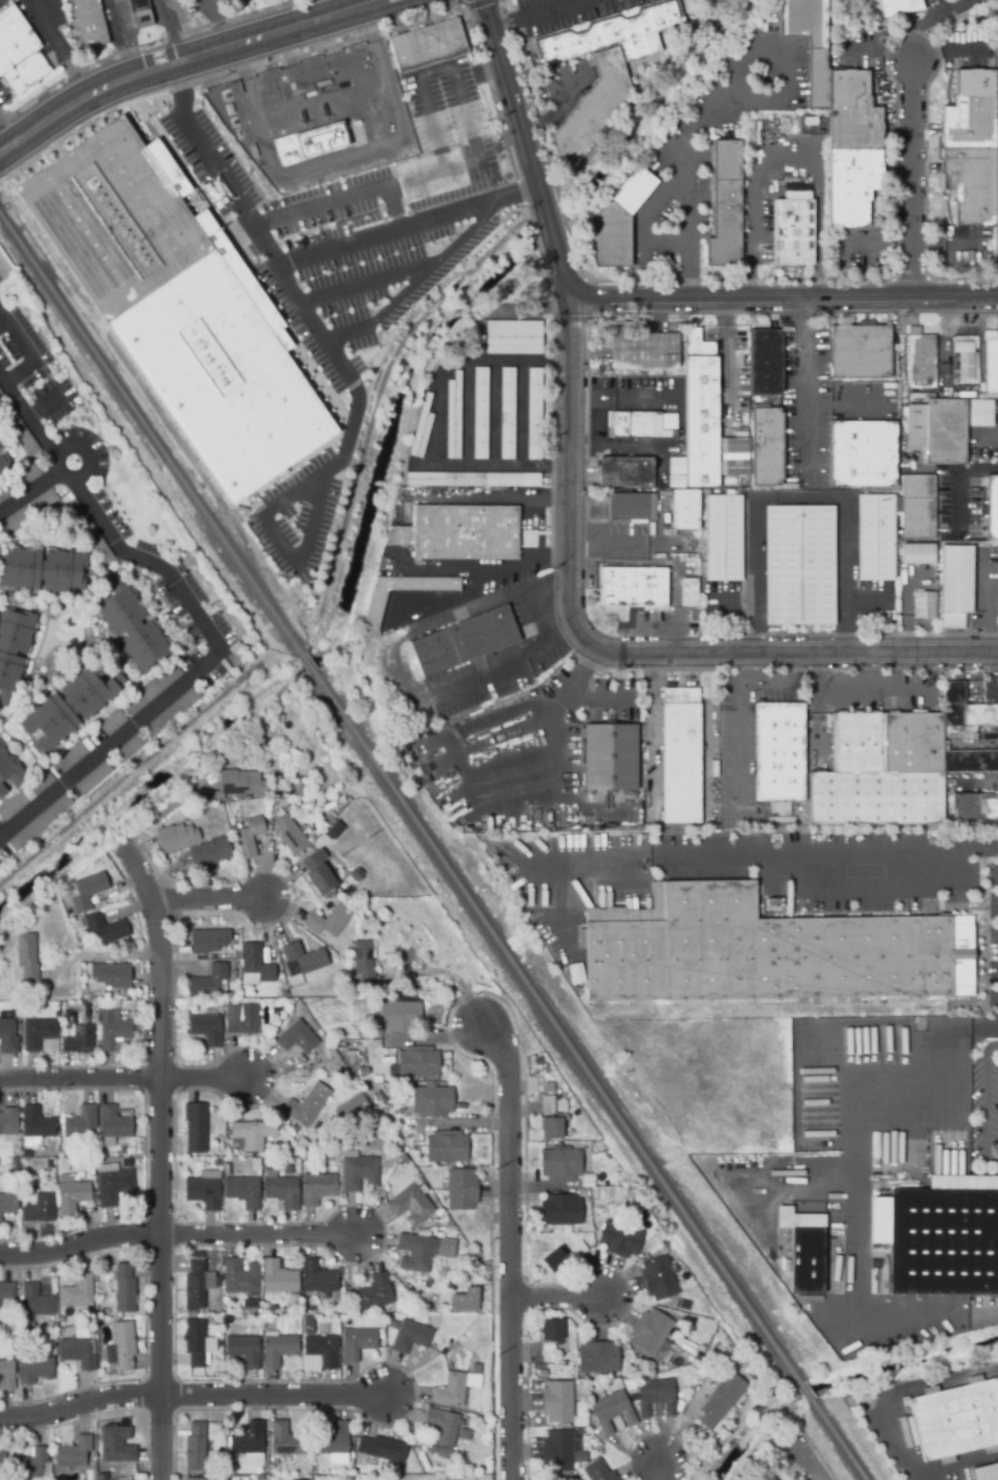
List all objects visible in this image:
building: (225, 2)
road: (202, 3)
building: (898, 7)
road: (328, 9)
road: (541, 13)
building: (140, 14)
road: (493, 17)
building: (89, 24)
road: (167, 32)
building: (611, 35)
road: (123, 39)
building: (808, 42)
building: (428, 47)
road: (59, 51)
road: (911, 53)
building: (20, 59)
road: (187, 61)
road: (733, 80)
road: (639, 106)
building: (591, 109)
road: (9, 130)
building: (307, 145)
building: (852, 150)
road: (793, 152)
building: (971, 153)
road: (340, 159)
road: (475, 159)
road: (910, 182)
building: (725, 207)
road: (392, 208)
parking lot: (360, 221)
building: (617, 223)
road: (410, 224)
road: (643, 231)
building: (793, 233)
road: (879, 245)
road: (434, 261)
road: (368, 285)
road: (652, 295)
building: (179, 307)
road: (350, 332)
building: (513, 339)
building: (641, 349)
road: (28, 351)
building: (860, 353)
building: (965, 357)
building: (919, 359)
building: (764, 364)
building: (990, 367)
road: (352, 369)
power tower: (50, 375)
road: (3, 378)
road: (730, 386)
power tower: (19, 387)
road: (808, 388)
building: (1, 397)
road: (610, 400)
road: (45, 406)
building: (479, 414)
building: (978, 414)
road: (468, 415)
road: (494, 415)
building: (507, 415)
road: (524, 415)
building: (533, 415)
building: (699, 415)
building: (453, 418)
building: (644, 426)
road: (35, 427)
building: (421, 430)
building: (935, 431)
building: (19, 433)
railway: (150, 436)
road: (434, 442)
building: (767, 448)
road: (91, 450)
road: (631, 451)
building: (863, 455)
building: (3, 466)
building: (625, 473)
road: (956, 476)
building: (26, 477)
building: (471, 481)
building: (5, 492)
road: (507, 496)
road: (802, 498)
building: (43, 502)
building: (918, 507)
building: (631, 508)
building: (992, 509)
building: (685, 511)
parking lot: (294, 515)
building: (14, 523)
building: (88, 533)
building: (459, 534)
building: (723, 539)
building: (875, 539)
building: (915, 553)
building: (799, 566)
road: (527, 570)
building: (42, 572)
building: (922, 579)
road: (548, 585)
building: (955, 586)
building: (633, 588)
building: (688, 594)
road: (869, 604)
power tower: (207, 605)
road: (533, 607)
building: (923, 607)
building: (374, 611)
road: (557, 620)
power tower: (178, 623)
building: (130, 627)
road: (204, 640)
building: (463, 642)
building: (12, 649)
road: (616, 650)
railway: (306, 664)
road: (400, 675)
road: (990, 679)
road: (772, 686)
building: (153, 691)
road: (876, 697)
road: (598, 701)
road: (818, 706)
building: (70, 707)
road: (523, 708)
building: (965, 709)
road: (710, 712)
building: (171, 713)
building: (113, 724)
road: (742, 734)
road: (653, 736)
road: (501, 741)
building: (129, 749)
building: (778, 754)
building: (74, 756)
building: (608, 756)
building: (680, 757)
road: (512, 758)
building: (9, 771)
building: (887, 771)
building: (93, 779)
building: (237, 785)
road: (497, 790)
building: (2, 792)
road: (558, 793)
building: (26, 796)
building: (975, 806)
road: (166, 810)
road: (508, 814)
building: (39, 824)
building: (336, 827)
building: (289, 835)
building: (176, 838)
power tower: (368, 838)
building: (247, 839)
building: (210, 853)
power tower: (338, 854)
building: (318, 873)
road: (771, 878)
building: (87, 892)
road: (210, 900)
road: (564, 907)
building: (328, 922)
building: (106, 930)
building: (208, 941)
building: (767, 952)
road: (97, 955)
building: (26, 958)
building: (305, 959)
building: (364, 966)
building: (255, 967)
building: (576, 973)
building: (110, 977)
road: (456, 982)
building: (209, 983)
power tower: (471, 994)
power tower: (472, 994)
power tower: (445, 1010)
building: (400, 1018)
road: (494, 1018)
building: (243, 1021)
railway: (555, 1027)
building: (206, 1030)
road: (987, 1030)
building: (113, 1033)
building: (38, 1034)
road: (435, 1037)
building: (7, 1038)
building: (297, 1039)
building: (79, 1041)
building: (418, 1063)
road: (928, 1064)
road: (124, 1079)
road: (518, 1080)
power tower: (525, 1081)
building: (547, 1087)
road: (982, 1100)
building: (432, 1102)
building: (350, 1108)
building: (302, 1110)
building: (550, 1121)
building: (8, 1122)
building: (80, 1124)
road: (462, 1126)
building: (112, 1127)
building: (36, 1128)
building: (195, 1129)
building: (250, 1136)
building: (446, 1148)
building: (123, 1152)
building: (26, 1155)
building: (15, 1156)
road: (157, 1160)
building: (126, 1162)
building: (255, 1163)
building: (561, 1165)
power tower: (493, 1168)
building: (359, 1174)
building: (113, 1185)
building: (317, 1189)
building: (461, 1190)
building: (204, 1191)
building: (243, 1192)
building: (282, 1193)
road: (857, 1195)
building: (72, 1197)
building: (8, 1205)
building: (411, 1206)
building: (40, 1210)
building: (561, 1211)
road: (180, 1237)
building: (946, 1239)
building: (619, 1240)
building: (422, 1250)
road: (510, 1252)
building: (806, 1252)
building: (563, 1258)
building: (240, 1278)
building: (278, 1279)
building: (317, 1279)
building: (658, 1279)
building: (195, 1286)
building: (124, 1290)
building: (77, 1293)
building: (375, 1294)
building: (6, 1298)
building: (465, 1300)
road: (556, 1301)
building: (36, 1302)
building: (337, 1307)
building: (249, 1309)
road: (905, 1315)
building: (308, 1321)
building: (392, 1323)
building: (650, 1333)
building: (411, 1338)
building: (553, 1340)
building: (195, 1343)
building: (356, 1344)
building: (122, 1347)
building: (279, 1348)
building: (245, 1350)
building: (322, 1351)
building: (77, 1353)
power tower: (496, 1355)
building: (598, 1358)
building: (35, 1370)
building: (7, 1376)
power tower: (527, 1387)
building: (454, 1390)
railway: (805, 1391)
road: (893, 1396)
building: (655, 1398)
road: (194, 1399)
building: (721, 1402)
building: (557, 1403)
building: (610, 1413)
building: (956, 1423)
building: (442, 1428)
building: (464, 1436)
railway: (838, 1440)
building: (286, 1441)
building: (333, 1441)
building: (249, 1444)
building: (117, 1446)
building: (197, 1448)
building: (382, 1450)
building: (558, 1451)
building: (73, 1453)
building: (443, 1453)
road: (808, 1457)
building: (2, 1463)
building: (314, 1465)
building: (29, 1466)
building: (232, 1469)
road: (659, 1470)
road: (962, 1470)
building: (598, 1472)
building: (992, 1473)
building: (483, 1477)
building: (761, 1477)
building: (194, 1478)
building: (299, 1479)

